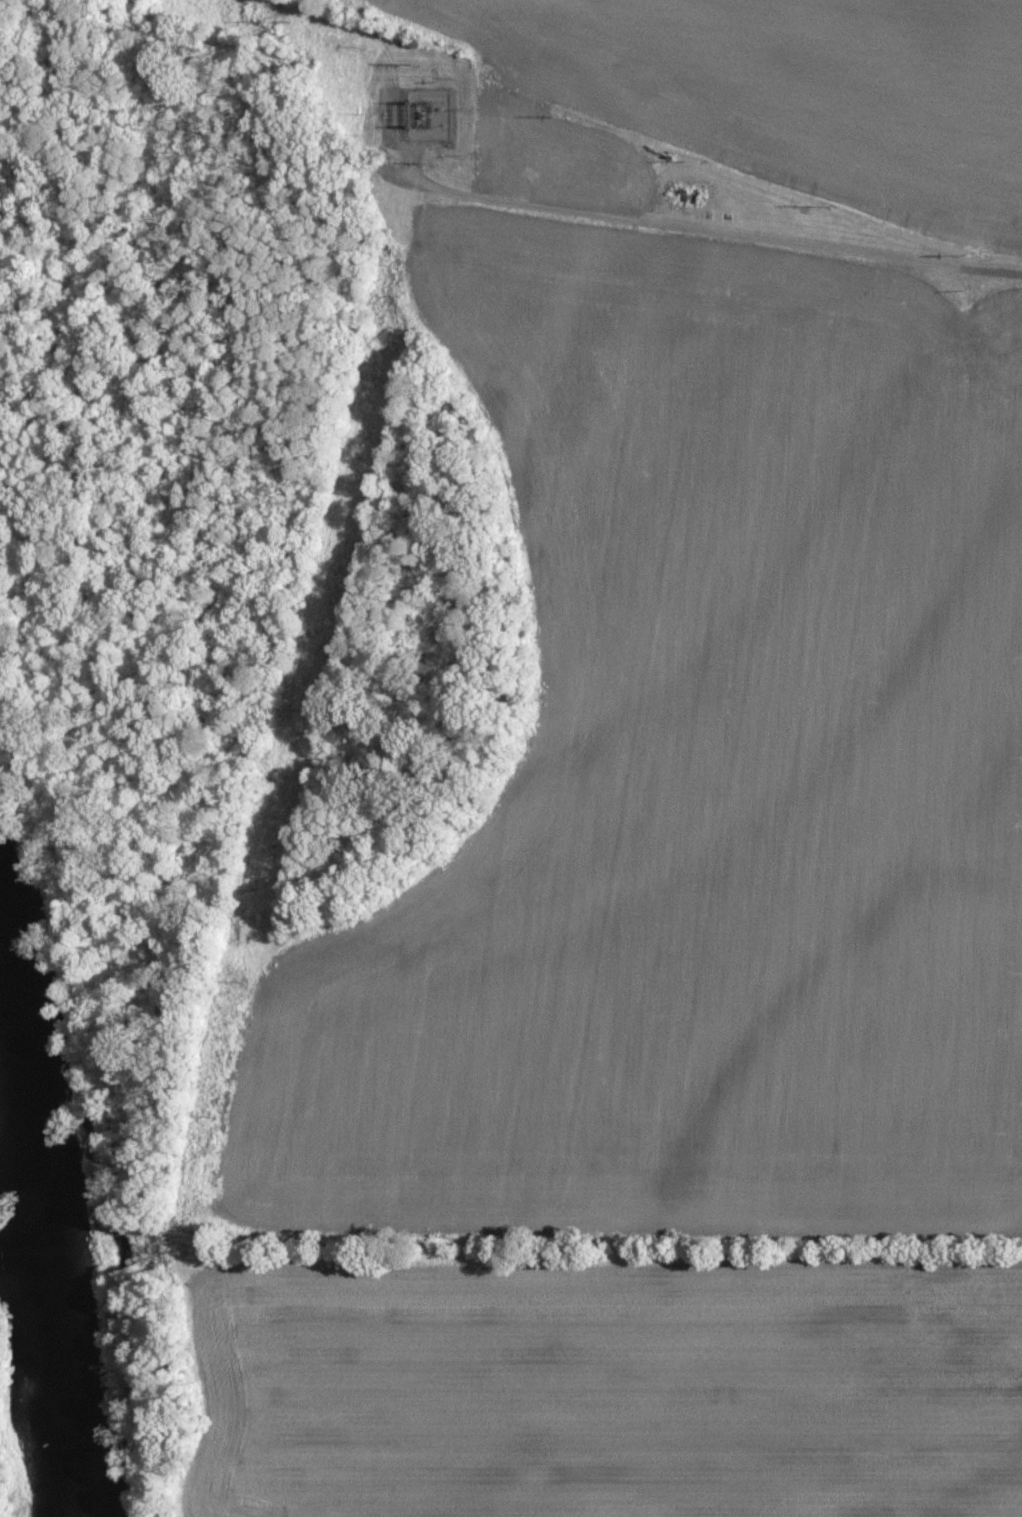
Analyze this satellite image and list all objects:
road: (702, 228)
river: (49, 1226)

